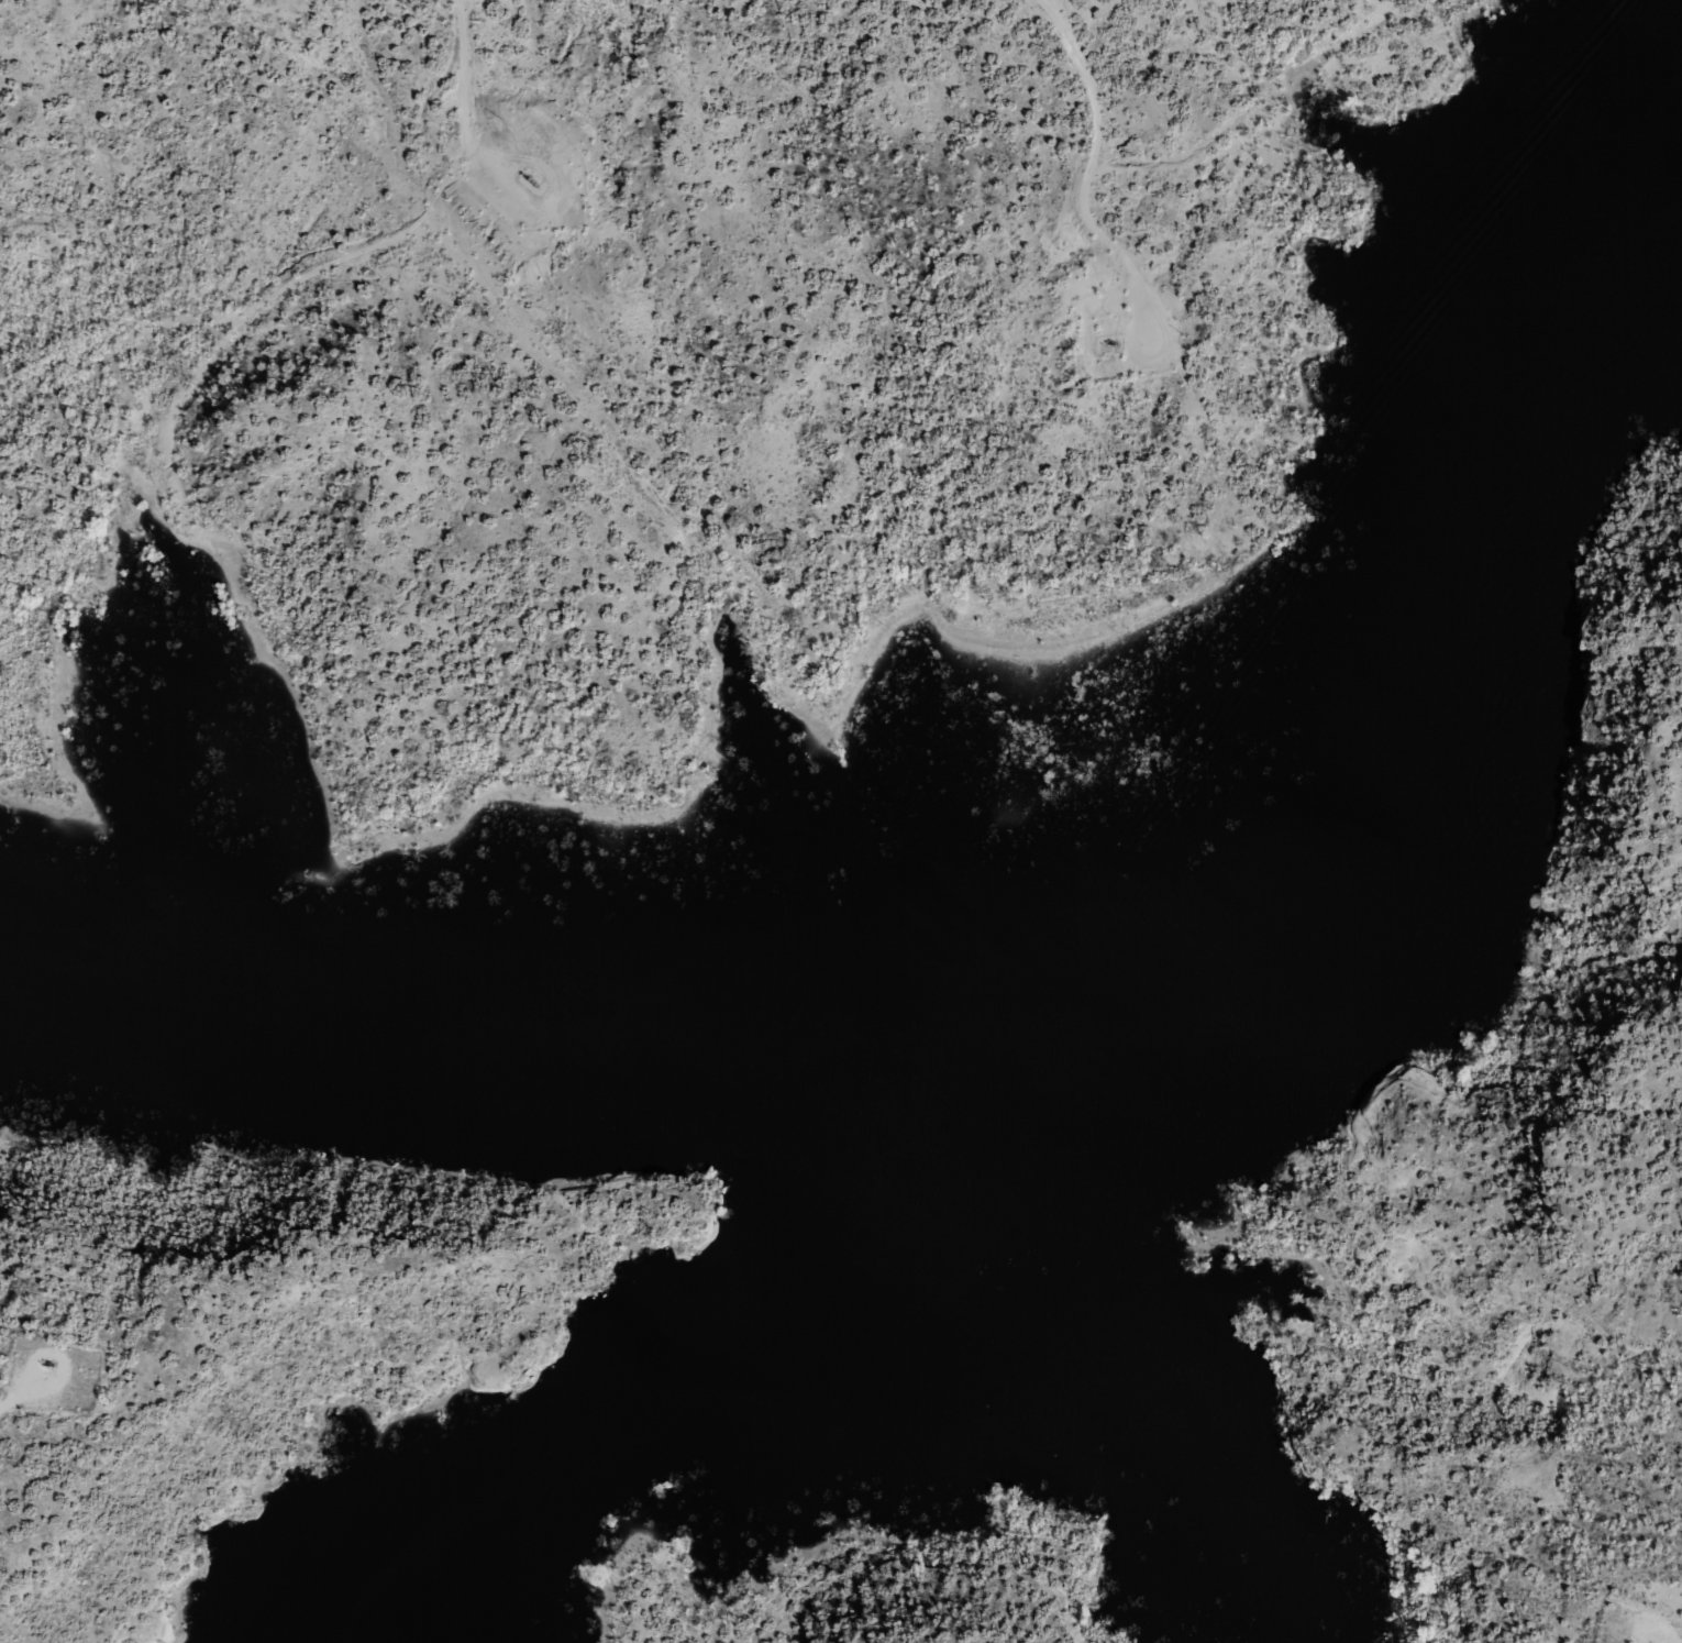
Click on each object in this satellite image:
road: (951, 19)
river: (1080, 895)

